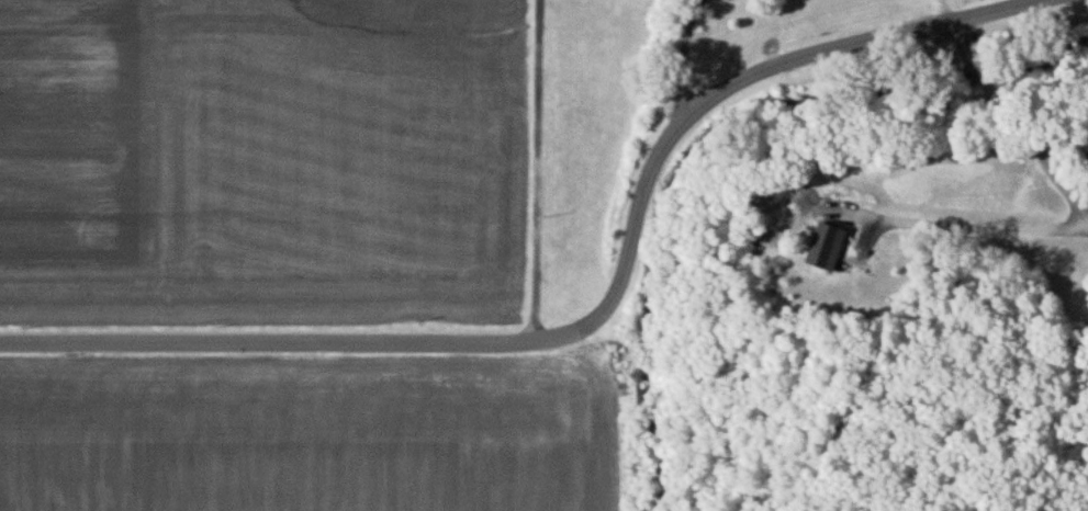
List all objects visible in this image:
road: (683, 53)
road: (537, 172)
road: (1074, 198)
building: (823, 245)
road: (607, 323)

